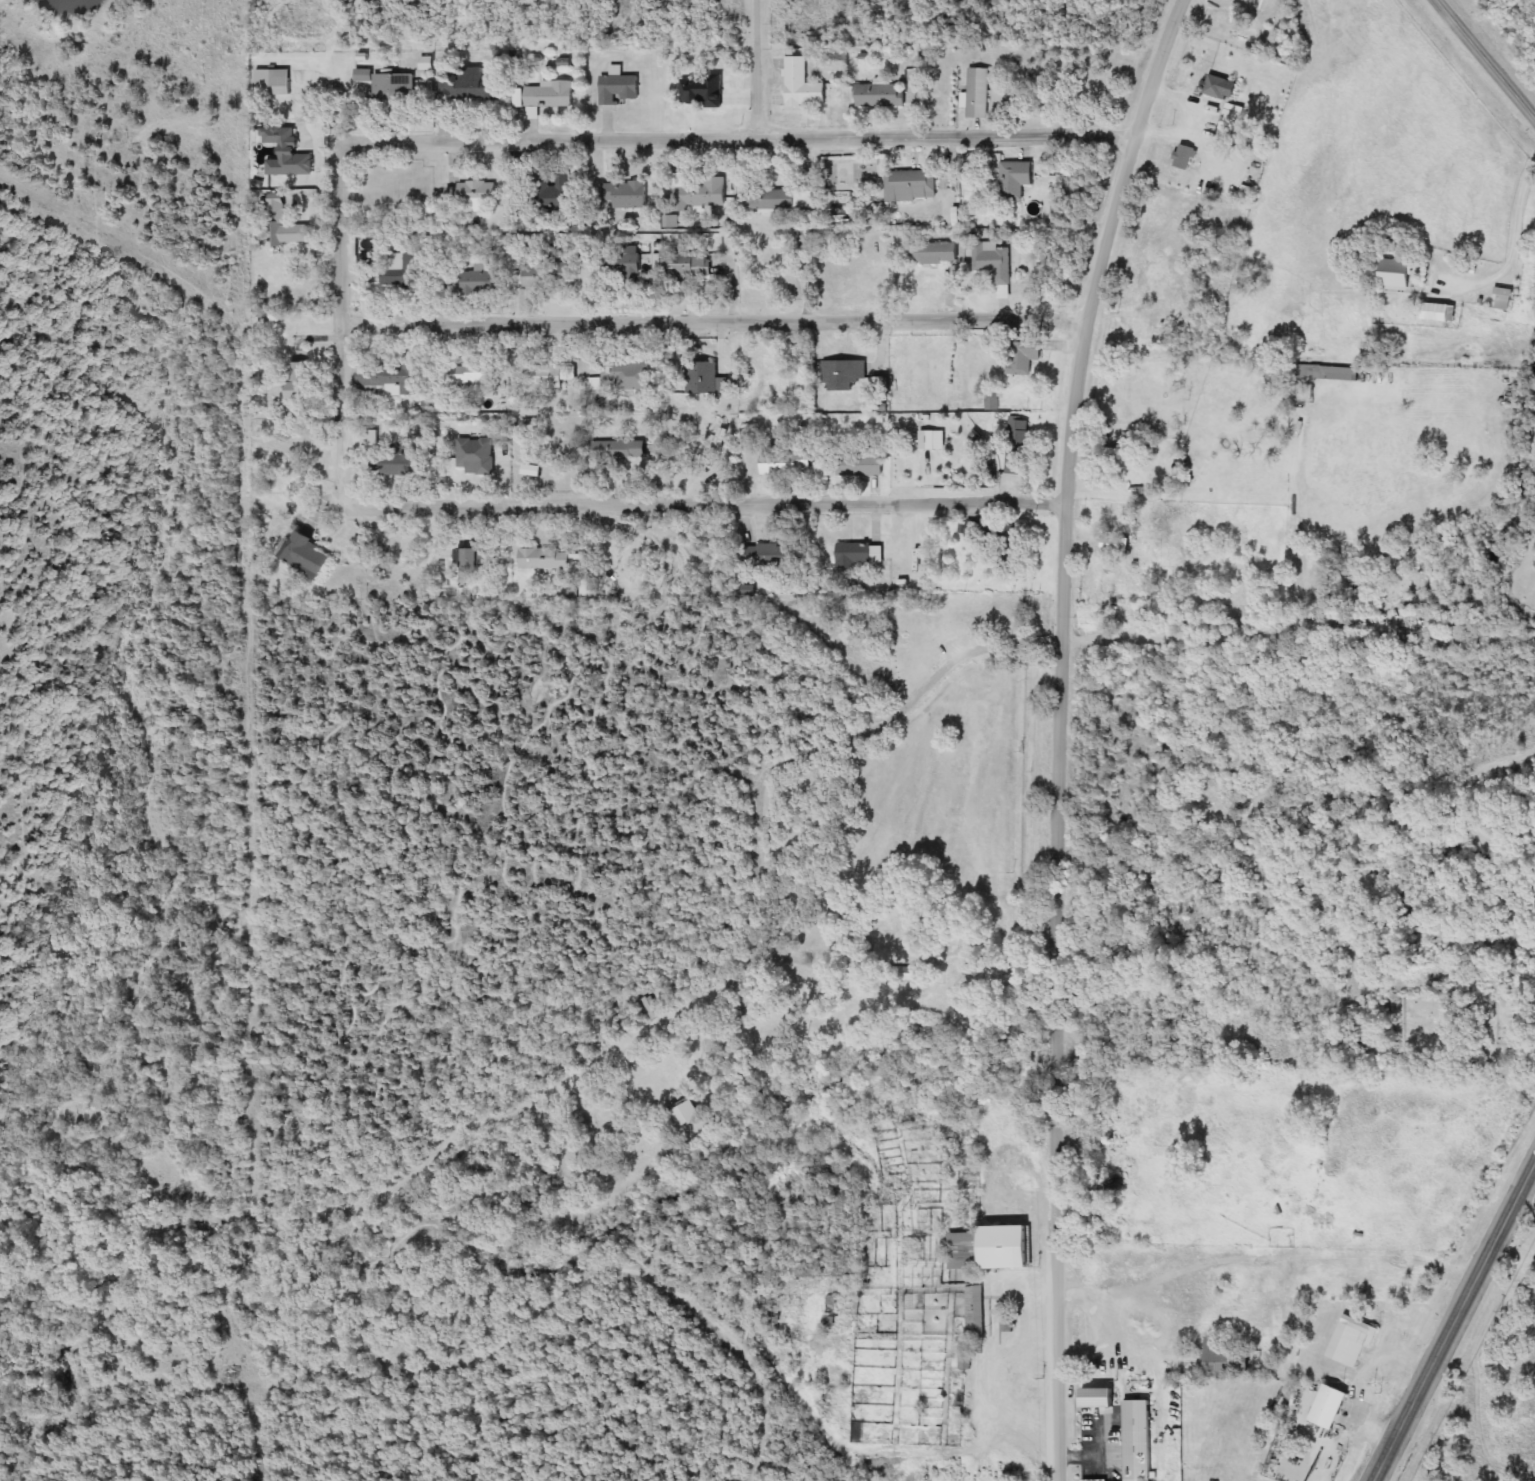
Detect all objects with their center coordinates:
road: (1487, 58)
road: (761, 67)
building: (281, 82)
building: (389, 86)
building: (469, 86)
building: (802, 86)
building: (1217, 87)
building: (618, 88)
building: (977, 94)
building: (544, 96)
building: (879, 96)
building: (1233, 119)
road: (740, 135)
building: (1184, 157)
building: (1015, 180)
building: (911, 186)
building: (552, 193)
building: (469, 196)
building: (623, 196)
building: (701, 197)
building: (776, 200)
building: (285, 226)
road: (1512, 249)
building: (933, 253)
building: (995, 265)
building: (690, 266)
building: (402, 270)
building: (628, 271)
building: (549, 275)
building: (1401, 276)
building: (481, 282)
building: (1505, 299)
building: (1442, 313)
road: (717, 314)
road: (346, 338)
building: (977, 357)
building: (1024, 358)
building: (548, 374)
building: (628, 374)
building: (844, 374)
building: (1341, 374)
building: (472, 375)
building: (385, 377)
building: (701, 378)
building: (299, 380)
building: (593, 386)
building: (928, 441)
building: (1016, 450)
building: (618, 452)
building: (475, 455)
building: (783, 461)
building: (532, 468)
building: (860, 472)
road: (724, 503)
building: (768, 555)
building: (860, 555)
building: (307, 557)
building: (550, 558)
building: (477, 561)
building: (1435, 589)
building: (1110, 592)
road: (1286, 630)
road: (1481, 639)
road: (1057, 732)
road: (1531, 1005)
road: (566, 1079)
road: (840, 1149)
road: (650, 1157)
road: (286, 1207)
road: (1516, 1244)
building: (993, 1249)
building: (829, 1312)
building: (976, 1312)
road: (1454, 1322)
building: (1351, 1341)
road: (767, 1347)
road: (743, 1348)
railway: (1469, 1355)
building: (965, 1360)
building: (1332, 1406)
building: (1139, 1440)

